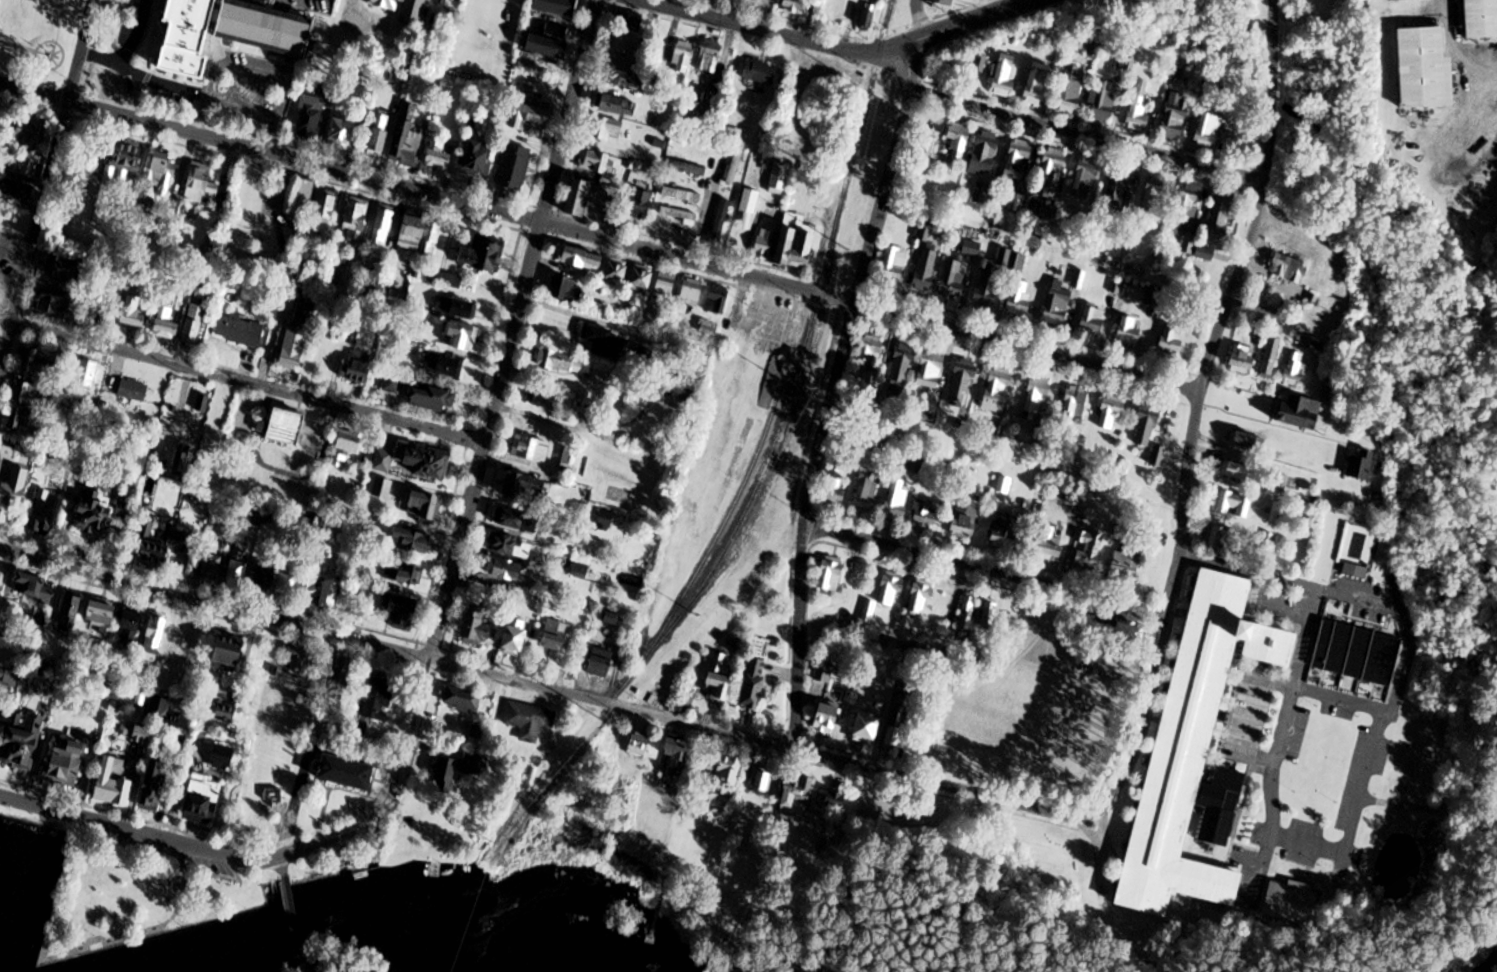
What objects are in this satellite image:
building: (736, 0)
building: (1392, 0)
road: (1004, 4)
building: (796, 6)
building: (403, 9)
building: (835, 12)
road: (919, 18)
building: (869, 19)
building: (1480, 19)
road: (742, 24)
building: (231, 32)
building: (626, 32)
road: (936, 33)
building: (551, 35)
road: (127, 50)
building: (683, 57)
road: (1451, 57)
building: (709, 58)
building: (979, 63)
building: (1425, 68)
building: (761, 72)
building: (1004, 76)
building: (622, 78)
building: (1038, 84)
building: (652, 86)
road: (178, 87)
building: (1072, 90)
building: (1103, 101)
building: (617, 105)
building: (694, 112)
building: (1138, 114)
building: (530, 116)
building: (311, 117)
building: (1175, 117)
building: (4, 122)
building: (607, 129)
building: (30, 134)
building: (343, 135)
building: (379, 135)
road: (1086, 136)
building: (408, 139)
building: (957, 140)
building: (927, 146)
building: (692, 147)
building: (733, 151)
building: (985, 152)
building: (1020, 152)
building: (439, 153)
building: (126, 159)
building: (479, 160)
building: (597, 161)
building: (20, 165)
building: (515, 167)
building: (691, 168)
building: (1052, 168)
building: (162, 172)
building: (779, 178)
building: (1085, 178)
building: (751, 183)
building: (203, 184)
road: (46, 185)
building: (13, 188)
building: (1155, 193)
building: (681, 194)
building: (1119, 196)
building: (579, 197)
building: (304, 199)
building: (1016, 202)
building: (642, 204)
building: (1188, 207)
building: (323, 210)
building: (1047, 211)
road: (707, 214)
building: (1223, 214)
building: (677, 215)
building: (721, 219)
building: (356, 220)
building: (383, 226)
building: (422, 234)
road: (599, 237)
building: (796, 242)
building: (764, 244)
building: (972, 248)
building: (1206, 253)
building: (483, 255)
building: (582, 258)
building: (894, 265)
building: (335, 266)
building: (64, 268)
building: (1289, 268)
building: (926, 269)
building: (617, 271)
building: (641, 280)
building: (665, 285)
building: (988, 286)
building: (568, 289)
building: (692, 291)
building: (1153, 297)
building: (1019, 298)
building: (718, 299)
building: (1058, 304)
building: (54, 305)
building: (456, 308)
road: (1225, 309)
building: (134, 314)
building: (1092, 320)
road: (6, 321)
building: (167, 324)
building: (195, 325)
road: (515, 329)
building: (240, 330)
building: (1128, 331)
building: (461, 335)
building: (296, 339)
building: (600, 339)
building: (1172, 341)
railway: (813, 348)
building: (871, 351)
building: (643, 355)
building: (1271, 357)
building: (1242, 360)
building: (38, 363)
building: (565, 363)
building: (902, 363)
building: (443, 365)
building: (360, 367)
railway: (798, 367)
building: (931, 369)
building: (1294, 369)
building: (87, 374)
road: (249, 383)
building: (393, 383)
building: (962, 383)
building: (134, 390)
building: (998, 390)
building: (682, 391)
road: (831, 393)
building: (1037, 394)
building: (31, 396)
building: (543, 398)
building: (436, 399)
building: (203, 403)
building: (1075, 403)
building: (1111, 411)
building: (1303, 413)
building: (22, 420)
building: (285, 427)
building: (1147, 427)
road: (578, 428)
building: (1247, 441)
building: (346, 447)
building: (531, 448)
building: (1158, 456)
building: (183, 458)
building: (384, 460)
building: (428, 464)
building: (1361, 465)
building: (1239, 471)
building: (525, 486)
building: (835, 486)
building: (383, 488)
building: (867, 491)
building: (13, 494)
building: (897, 500)
building: (1231, 503)
building: (425, 505)
railway: (731, 508)
building: (102, 513)
building: (924, 514)
building: (45, 517)
building: (517, 520)
building: (966, 521)
railway: (750, 522)
building: (1008, 531)
building: (1219, 537)
building: (412, 541)
building: (161, 544)
building: (1049, 544)
building: (511, 546)
building: (1088, 549)
building: (1127, 560)
building: (212, 566)
building: (238, 568)
building: (506, 570)
road: (986, 570)
building: (1355, 571)
building: (405, 574)
building: (1, 575)
building: (831, 575)
building: (266, 579)
building: (287, 585)
building: (35, 588)
building: (891, 590)
building: (324, 592)
building: (921, 596)
road: (216, 604)
road: (1391, 608)
building: (402, 612)
building: (966, 612)
building: (868, 613)
building: (989, 613)
building: (70, 615)
building: (102, 620)
building: (478, 627)
building: (1120, 630)
building: (555, 635)
building: (516, 638)
building: (155, 640)
building: (1357, 652)
building: (230, 653)
building: (296, 659)
building: (602, 663)
building: (824, 673)
building: (343, 675)
building: (721, 678)
building: (10, 679)
building: (757, 682)
building: (376, 698)
building: (463, 699)
building: (159, 710)
building: (227, 712)
building: (2, 715)
building: (827, 717)
building: (529, 720)
building: (867, 727)
building: (478, 732)
building: (894, 733)
building: (24, 740)
building: (639, 745)
road: (1275, 748)
building: (679, 751)
building: (1195, 753)
building: (67, 761)
road: (866, 767)
building: (699, 770)
building: (458, 771)
building: (729, 771)
building: (349, 773)
railway: (545, 775)
building: (764, 781)
building: (115, 784)
building: (155, 787)
road: (395, 791)
building: (797, 794)
building: (203, 800)
road: (1423, 809)
road: (1352, 819)
road: (139, 831)
road: (1101, 834)
road: (282, 869)
park: (140, 892)
road: (1103, 897)
building: (1290, 901)
road: (292, 918)
road: (300, 965)
road: (1147, 969)

